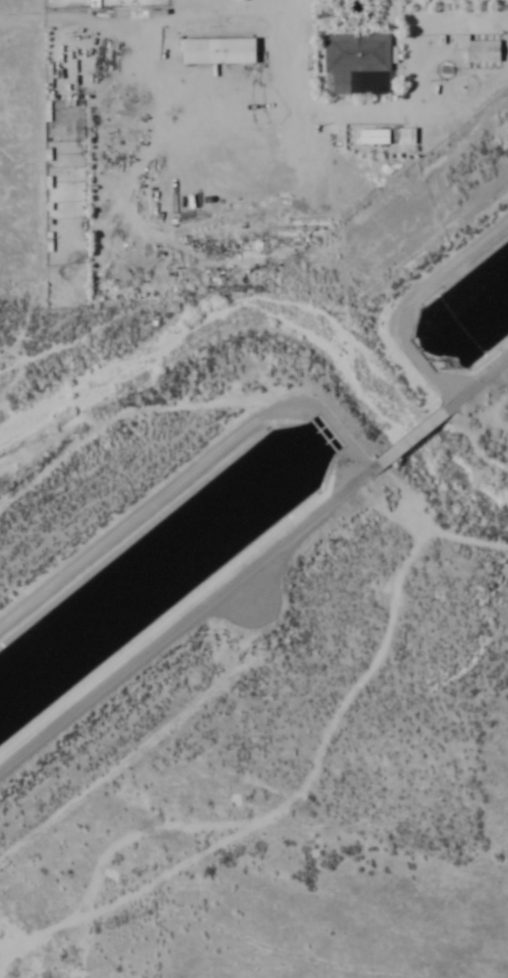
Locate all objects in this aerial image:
building: (70, 17)
building: (478, 50)
building: (357, 54)
road: (309, 56)
building: (79, 167)
building: (80, 262)
road: (410, 299)
road: (476, 384)
road: (412, 436)
road: (184, 472)
road: (189, 617)

